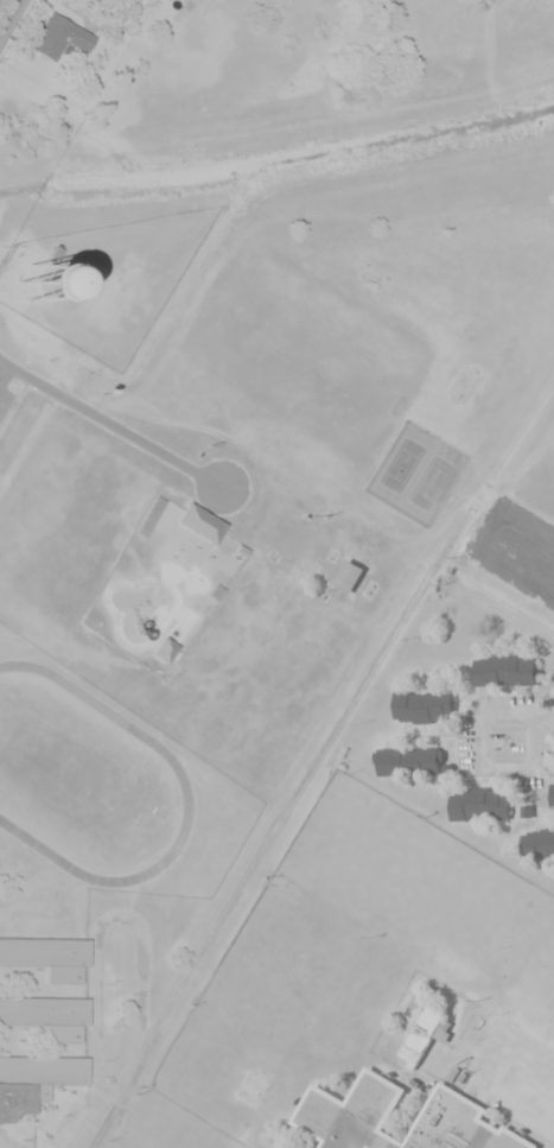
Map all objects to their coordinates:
road: (8, 15)
building: (62, 36)
building: (70, 285)
water tower: (40, 303)
road: (110, 424)
park: (415, 477)
building: (199, 526)
building: (348, 579)
building: (160, 648)
building: (504, 674)
building: (425, 710)
road: (541, 715)
building: (407, 765)
road: (475, 769)
track: (85, 782)
building: (552, 799)
building: (478, 806)
building: (537, 849)
building: (44, 1009)
building: (418, 1025)
building: (34, 1079)
building: (345, 1104)

